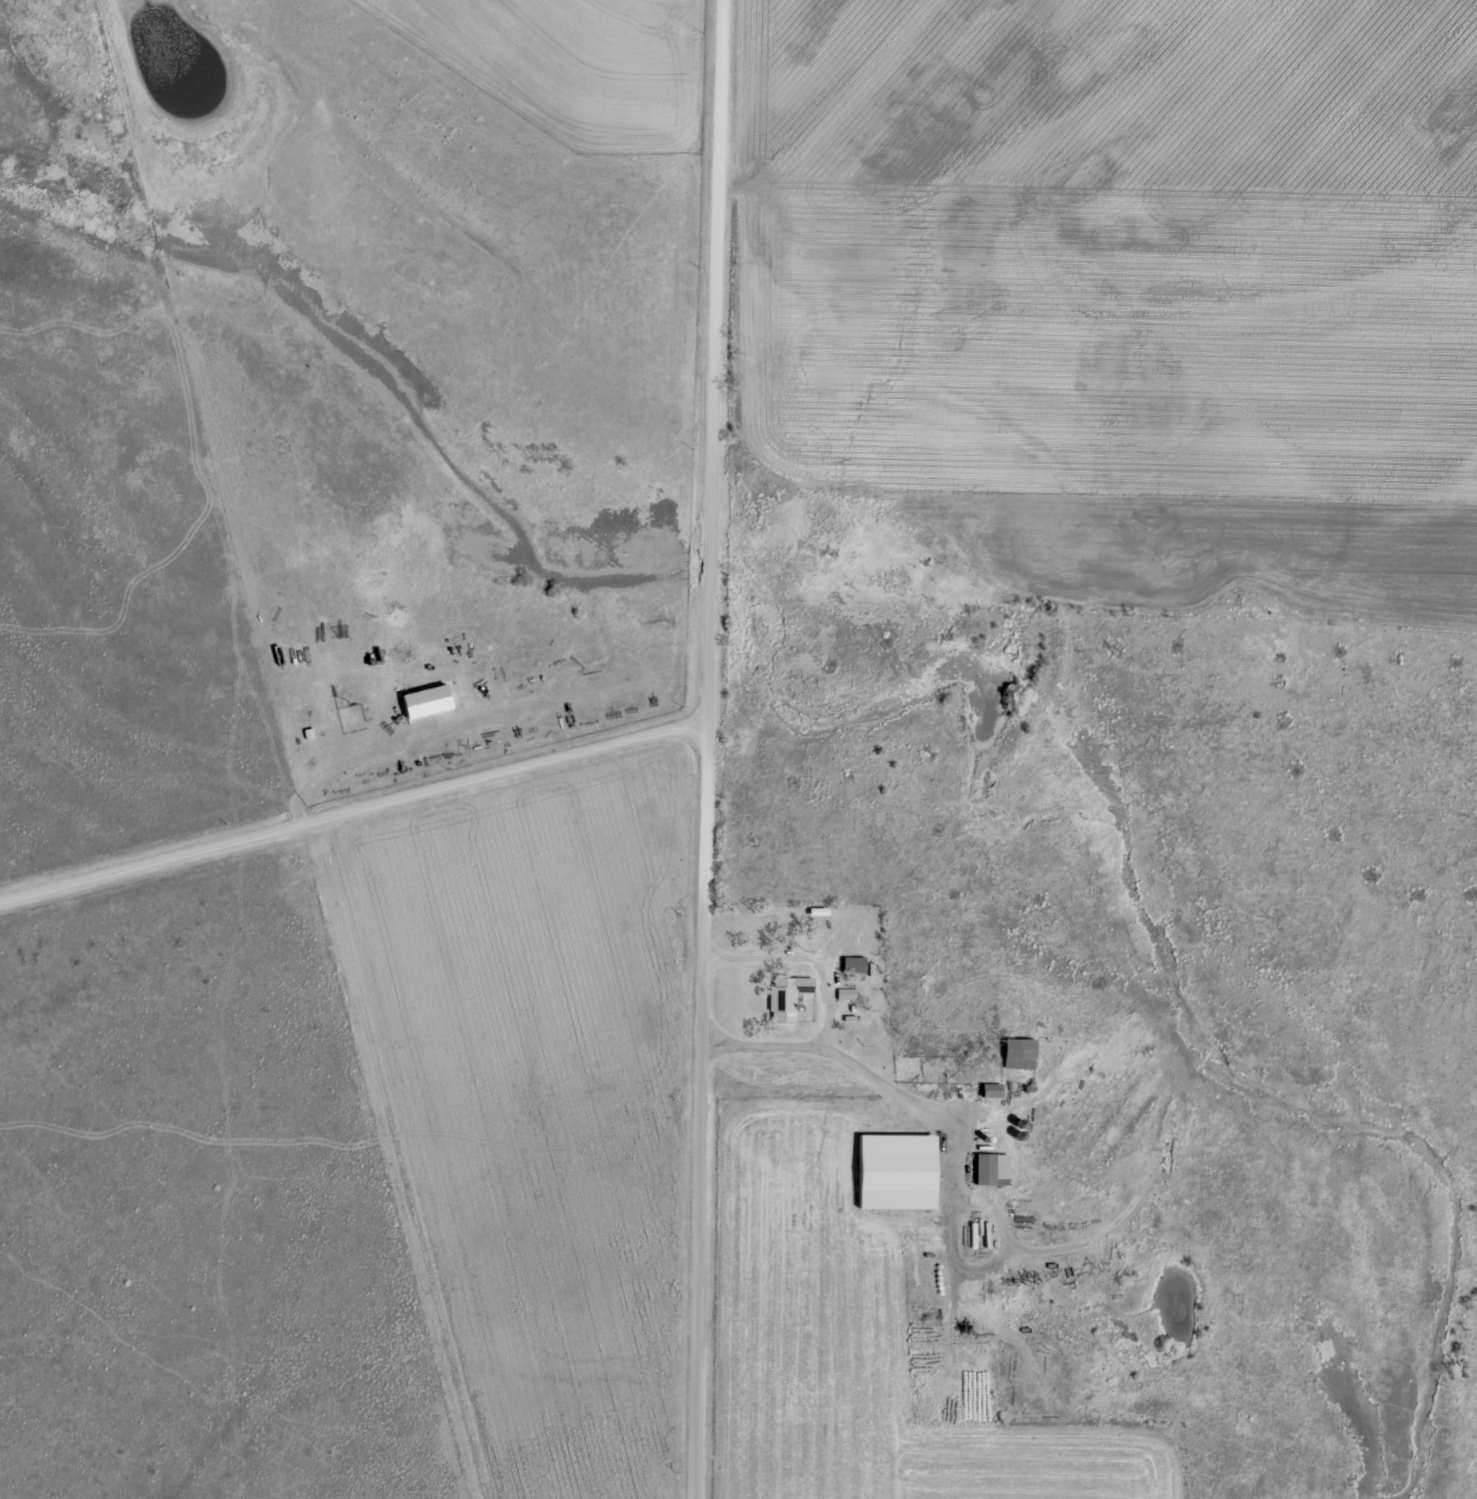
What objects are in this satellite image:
building: (420, 710)
road: (704, 749)
road: (351, 789)
building: (844, 1003)
building: (783, 1006)
road: (835, 1056)
building: (1015, 1063)
building: (989, 1099)
building: (989, 1178)

